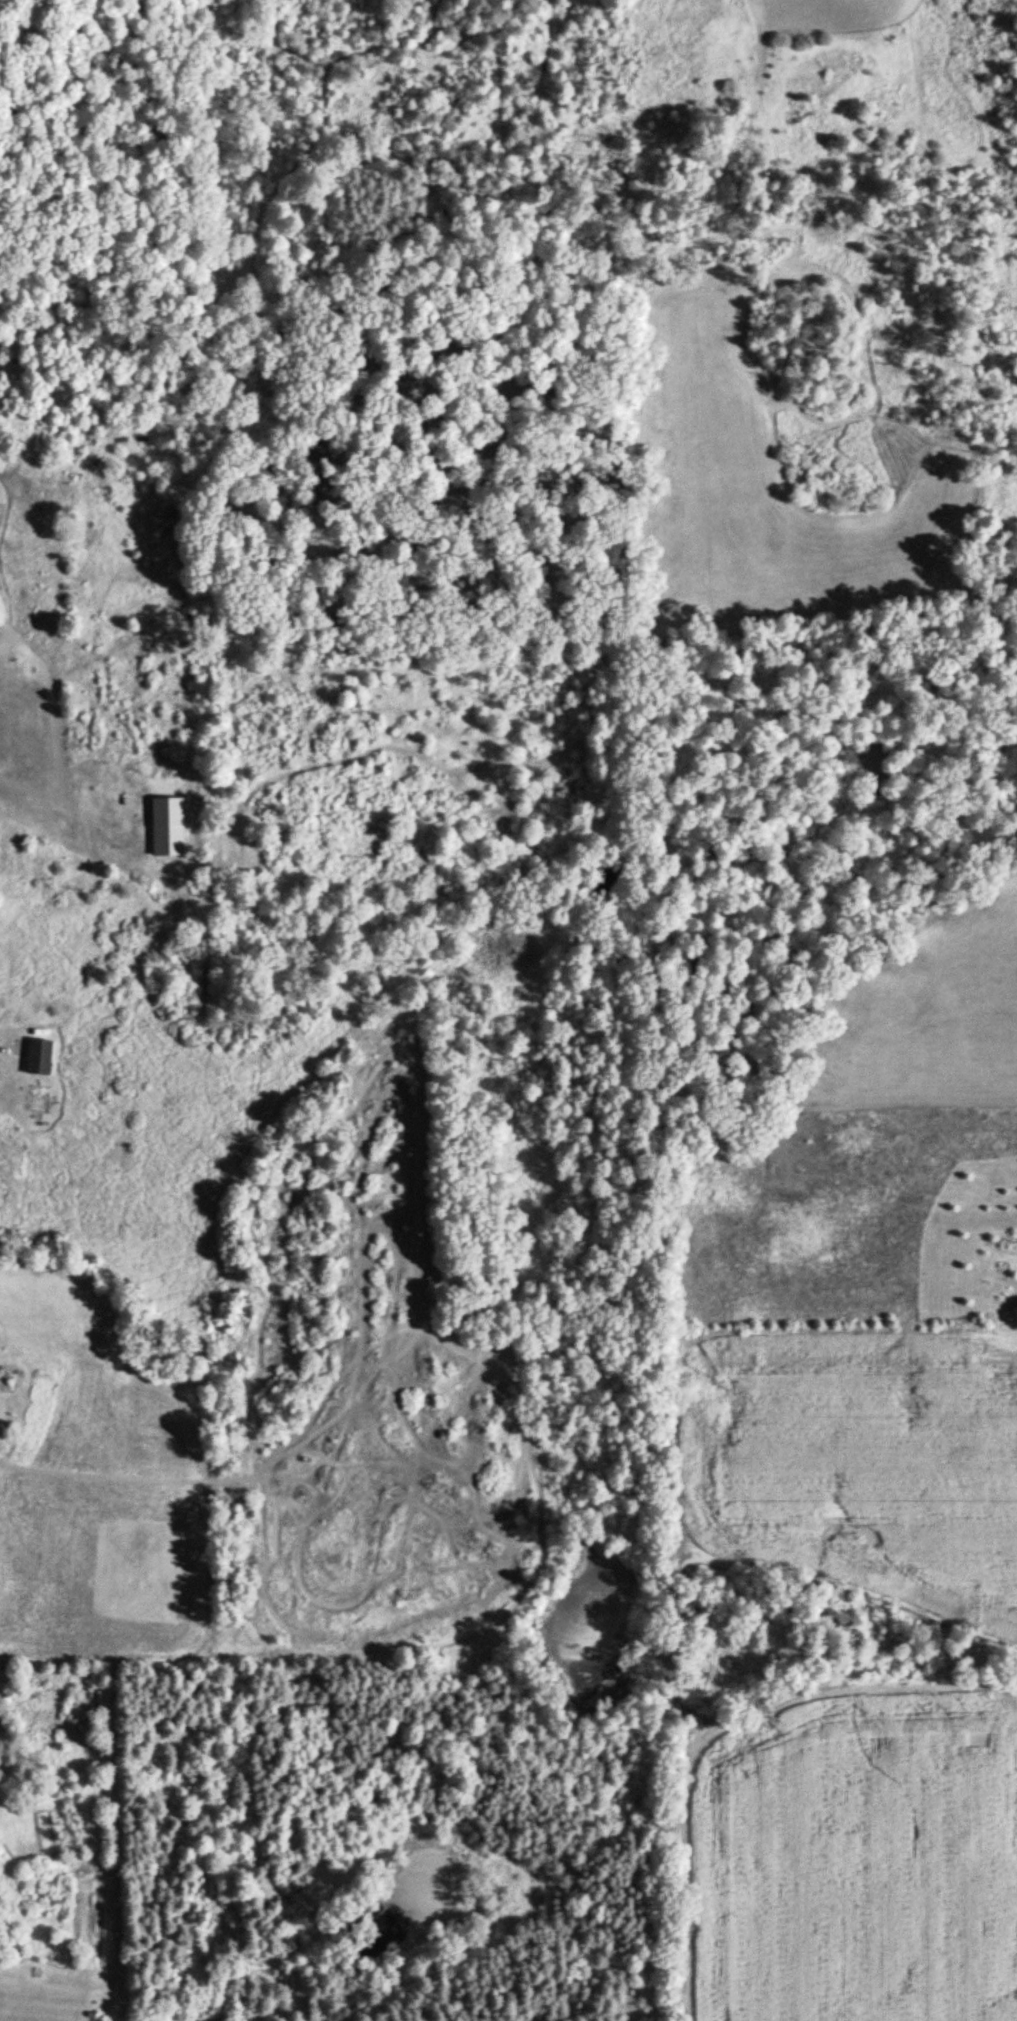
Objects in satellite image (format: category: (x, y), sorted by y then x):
crop: (829, 18)
building: (0, 614)
crop: (935, 1010)
building: (39, 1057)
crop: (853, 1464)

